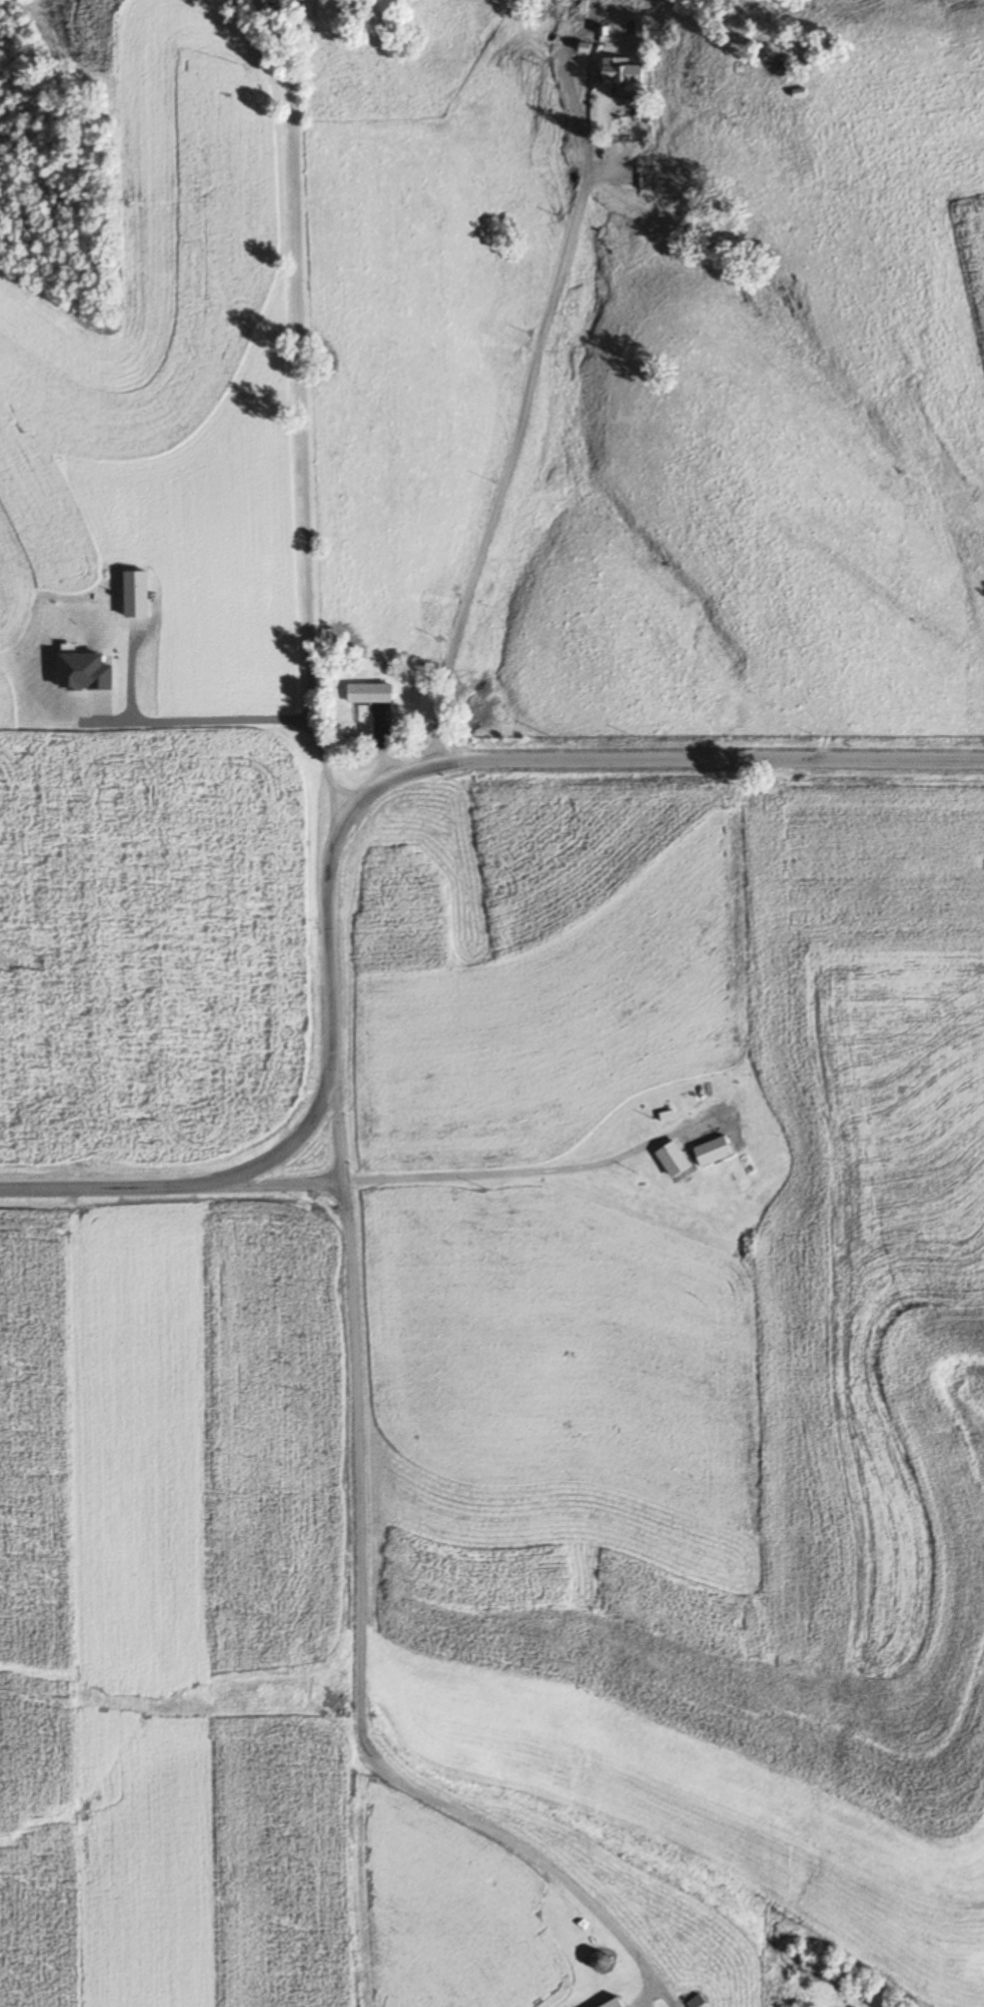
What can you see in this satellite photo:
building: (622, 72)
road: (518, 380)
road: (301, 400)
building: (372, 693)
road: (655, 753)
road: (340, 1162)
road: (524, 1170)
road: (356, 1475)
road: (545, 1864)
building: (600, 1947)
building: (697, 2002)
building: (617, 2003)

